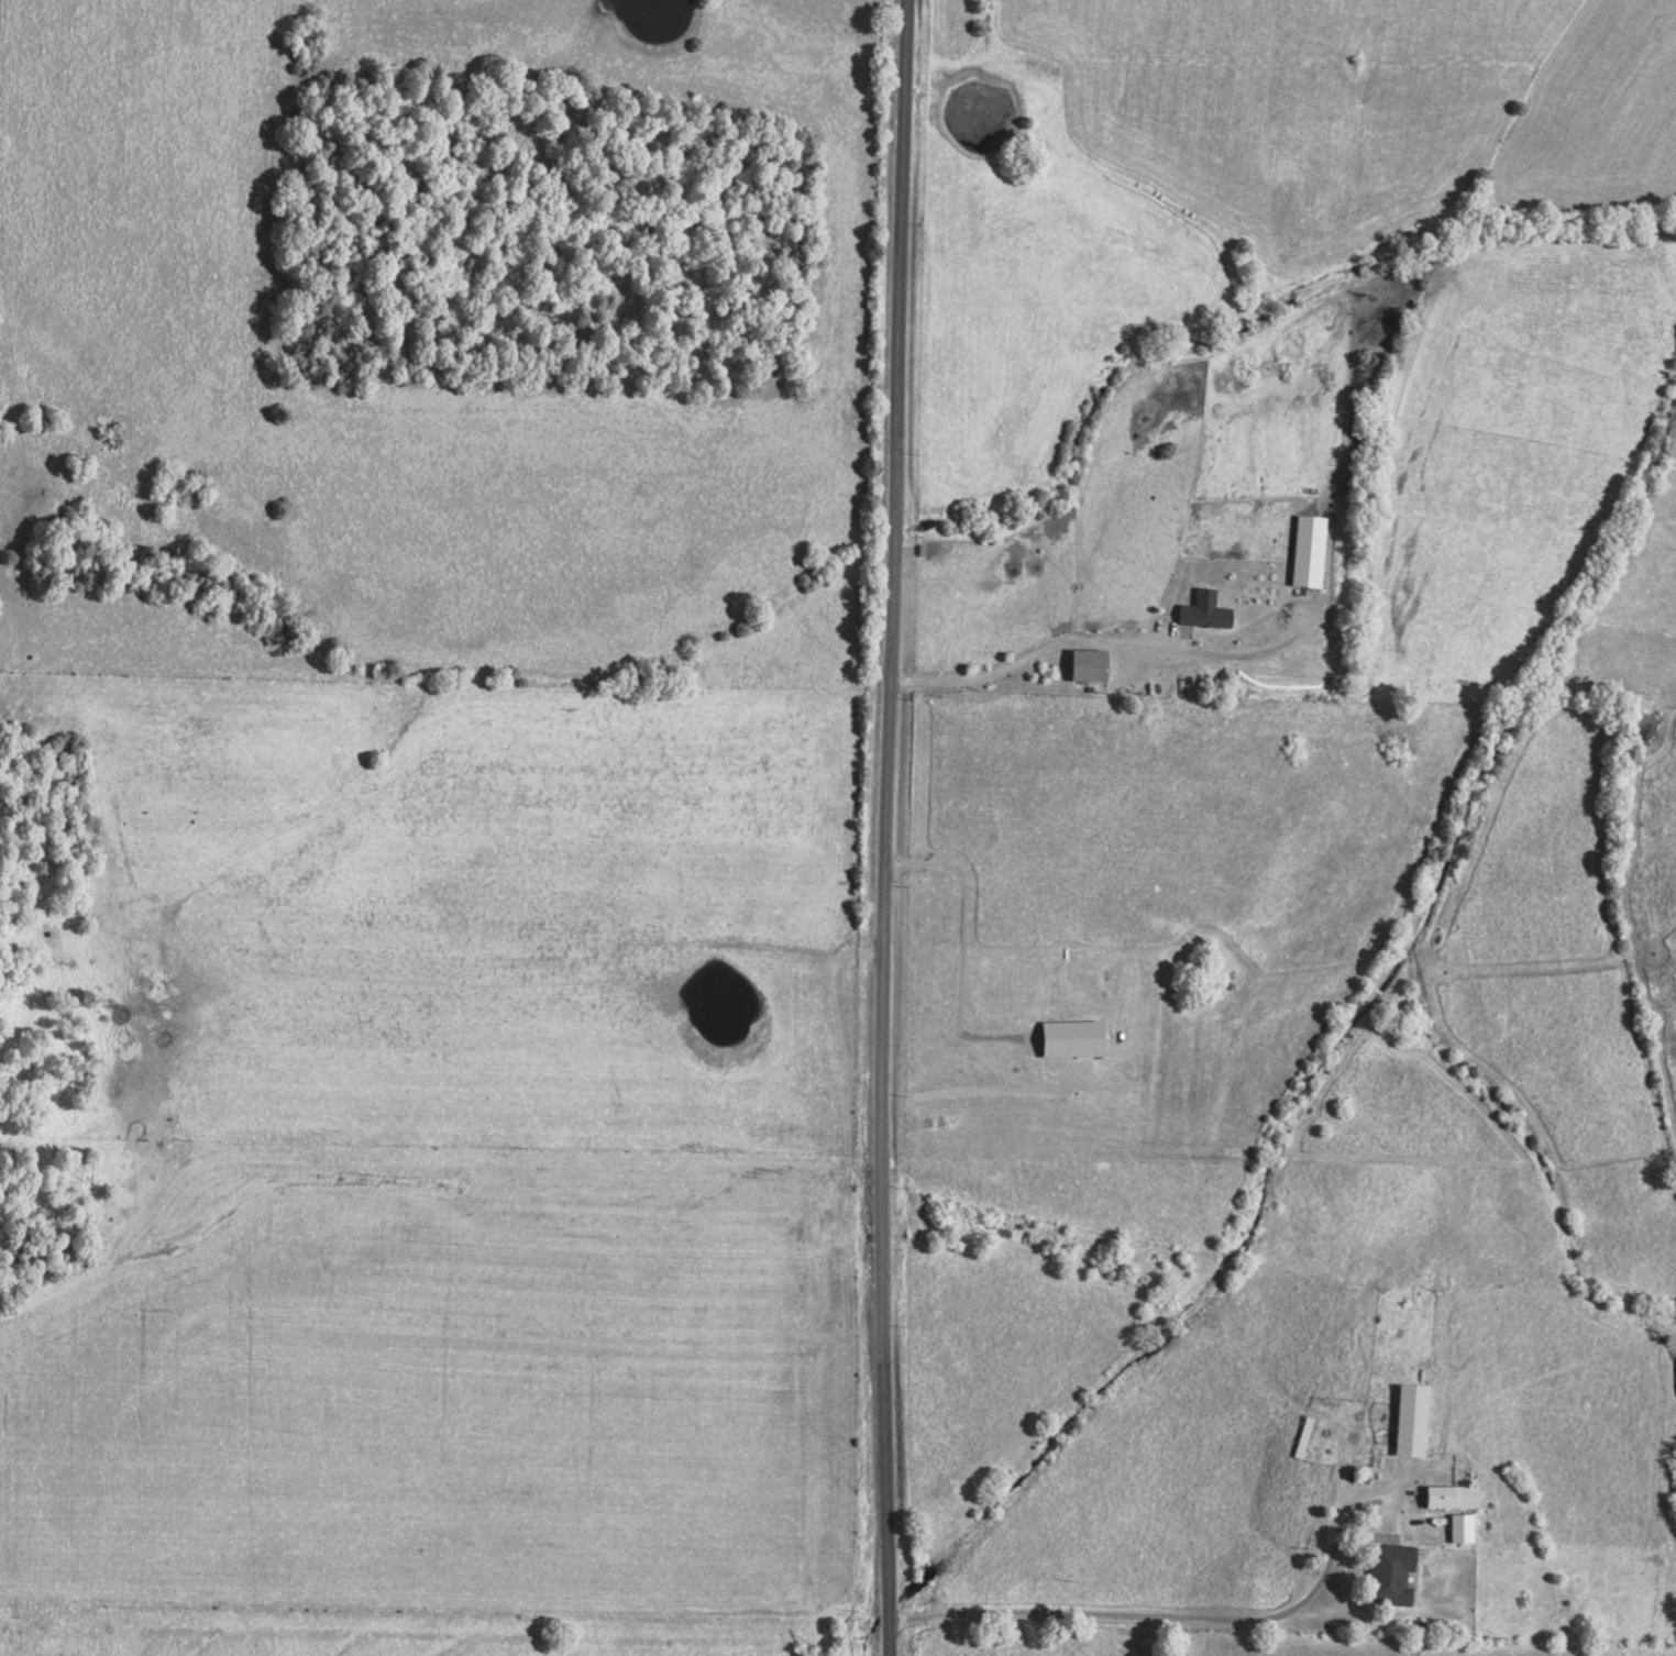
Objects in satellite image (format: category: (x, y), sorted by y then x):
building: (1306, 550)
building: (1203, 609)
road: (1028, 659)
building: (1088, 664)
road: (882, 827)
building: (1410, 1420)
building: (1451, 1497)
building: (1460, 1528)
building: (1389, 1574)
road: (1167, 1620)

